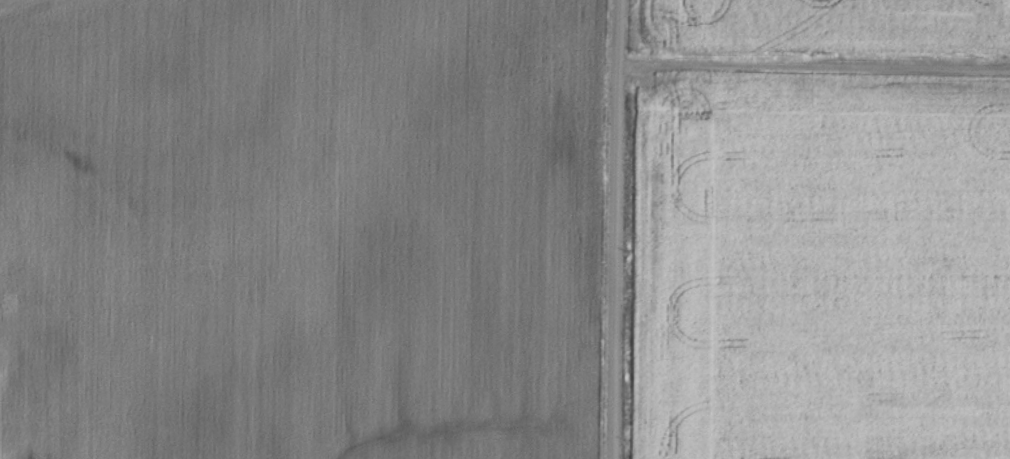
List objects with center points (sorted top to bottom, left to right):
road: (814, 65)
road: (616, 229)

